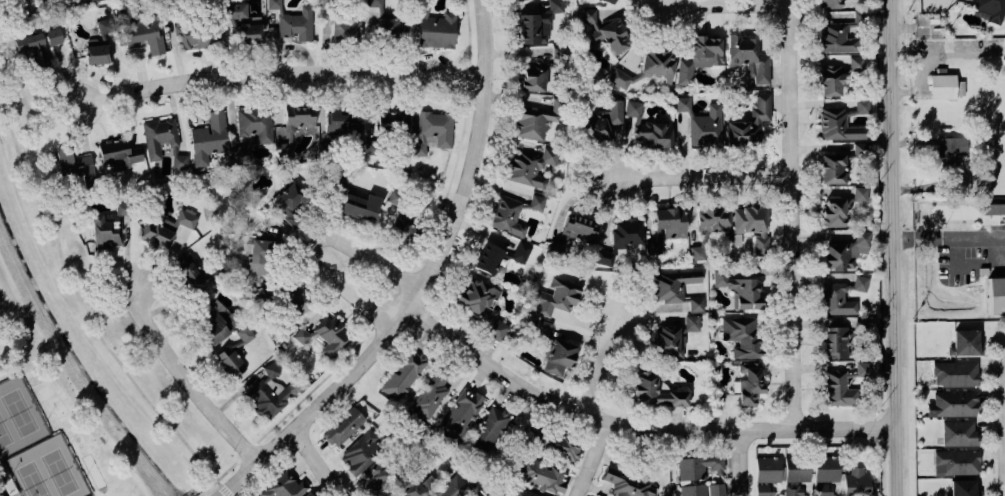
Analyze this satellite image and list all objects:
building: (94, 0)
building: (42, 1)
building: (610, 1)
road: (724, 2)
building: (326, 3)
building: (829, 3)
building: (375, 5)
building: (989, 9)
building: (293, 21)
building: (931, 21)
building: (241, 24)
building: (537, 24)
building: (387, 27)
road: (910, 27)
building: (401, 28)
building: (434, 28)
building: (345, 31)
building: (606, 31)
building: (140, 32)
building: (192, 35)
building: (840, 35)
building: (53, 36)
building: (101, 43)
building: (32, 51)
building: (559, 53)
building: (699, 57)
building: (1003, 58)
building: (747, 59)
building: (855, 63)
building: (656, 65)
building: (1004, 65)
road: (280, 71)
building: (532, 75)
building: (619, 78)
building: (830, 79)
building: (940, 85)
road: (909, 91)
building: (682, 104)
building: (859, 107)
building: (536, 119)
building: (392, 120)
building: (606, 121)
building: (749, 123)
building: (344, 124)
building: (839, 125)
building: (252, 127)
building: (705, 127)
building: (648, 128)
building: (288, 129)
building: (429, 131)
building: (208, 138)
road: (459, 140)
building: (162, 141)
building: (948, 150)
building: (118, 152)
building: (840, 163)
building: (75, 167)
building: (530, 167)
road: (706, 175)
building: (959, 182)
building: (396, 197)
building: (289, 202)
building: (359, 206)
building: (920, 206)
building: (841, 207)
building: (991, 209)
building: (512, 213)
road: (795, 213)
building: (751, 224)
building: (405, 226)
building: (166, 227)
building: (108, 228)
building: (665, 228)
building: (574, 231)
road: (980, 237)
road: (925, 238)
building: (620, 239)
road: (311, 247)
road: (895, 248)
building: (844, 251)
building: (521, 252)
building: (258, 254)
building: (487, 258)
road: (969, 263)
building: (187, 270)
road: (428, 283)
building: (675, 288)
building: (737, 288)
building: (994, 295)
building: (841, 296)
building: (295, 301)
road: (81, 305)
building: (481, 305)
building: (215, 323)
building: (691, 323)
building: (539, 327)
building: (325, 335)
building: (741, 335)
park: (96, 336)
building: (668, 341)
building: (836, 342)
building: (964, 343)
building: (234, 353)
building: (557, 356)
road: (605, 365)
building: (952, 373)
building: (403, 375)
road: (193, 377)
building: (749, 383)
building: (843, 385)
street lamp: (996, 389)
building: (655, 391)
building: (269, 393)
road: (304, 394)
building: (430, 394)
park: (46, 399)
building: (951, 403)
building: (460, 413)
park: (17, 415)
road: (992, 417)
park: (17, 418)
road: (638, 424)
building: (343, 426)
park: (47, 427)
building: (489, 429)
building: (957, 433)
park: (4, 437)
building: (555, 444)
building: (360, 452)
road: (596, 458)
road: (322, 461)
road: (747, 461)
building: (953, 461)
building: (698, 467)
building: (825, 468)
road: (227, 469)
building: (767, 469)
building: (796, 469)
park: (43, 470)
park: (56, 473)
building: (377, 475)
building: (541, 475)
park: (28, 481)
building: (856, 482)
building: (415, 483)
building: (627, 484)
building: (283, 486)
building: (452, 487)
building: (960, 488)
building: (716, 489)
building: (692, 490)
building: (764, 490)
building: (793, 490)
building: (822, 490)
road: (1, 492)
building: (522, 492)
park: (247, 493)
road: (14, 494)
road: (229, 494)
building: (306, 494)
building: (475, 495)

